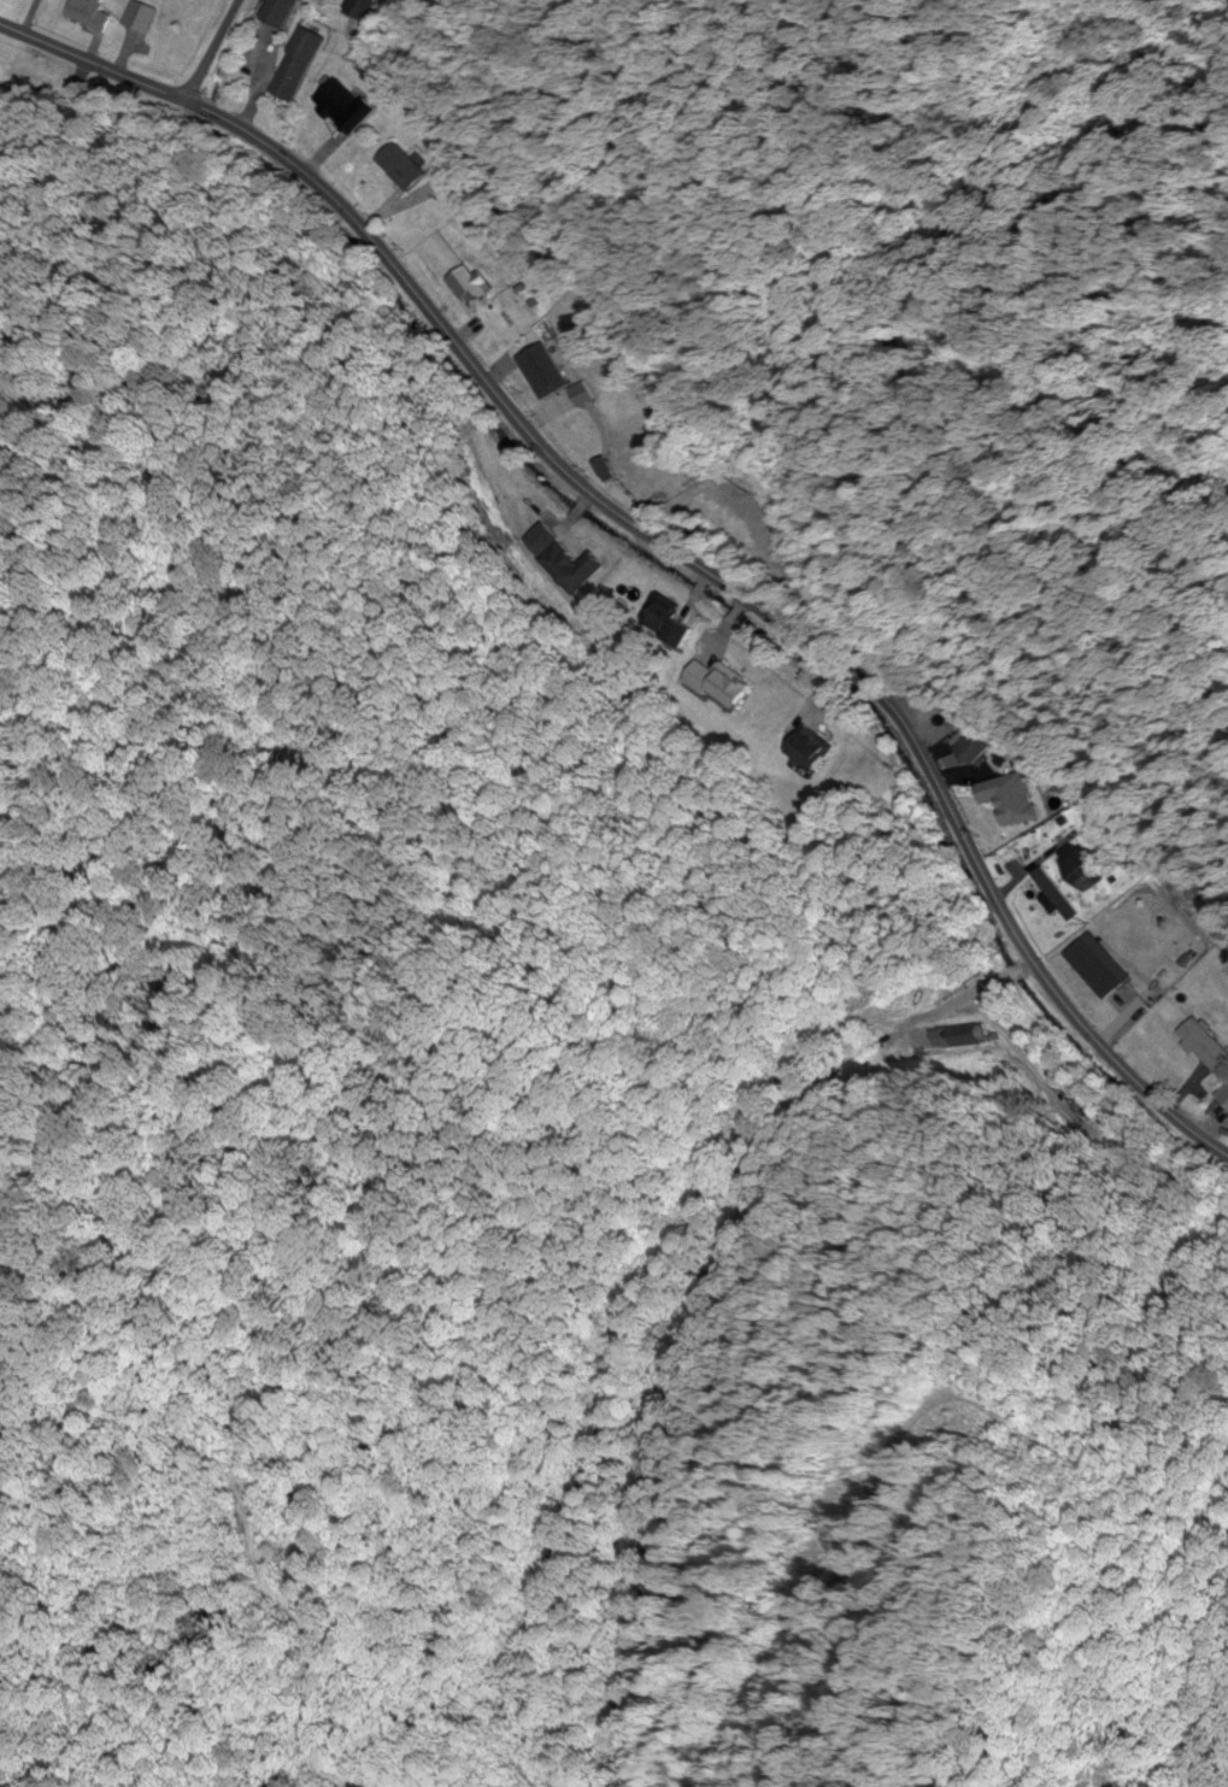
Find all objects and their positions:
building: (371, 8)
building: (288, 13)
building: (143, 18)
road: (212, 49)
building: (300, 65)
building: (349, 108)
building: (405, 169)
building: (547, 370)
building: (581, 424)
road: (660, 529)
building: (977, 751)
building: (1011, 800)
building: (1081, 869)
building: (1145, 962)
building: (1200, 1046)
building: (1222, 1100)

